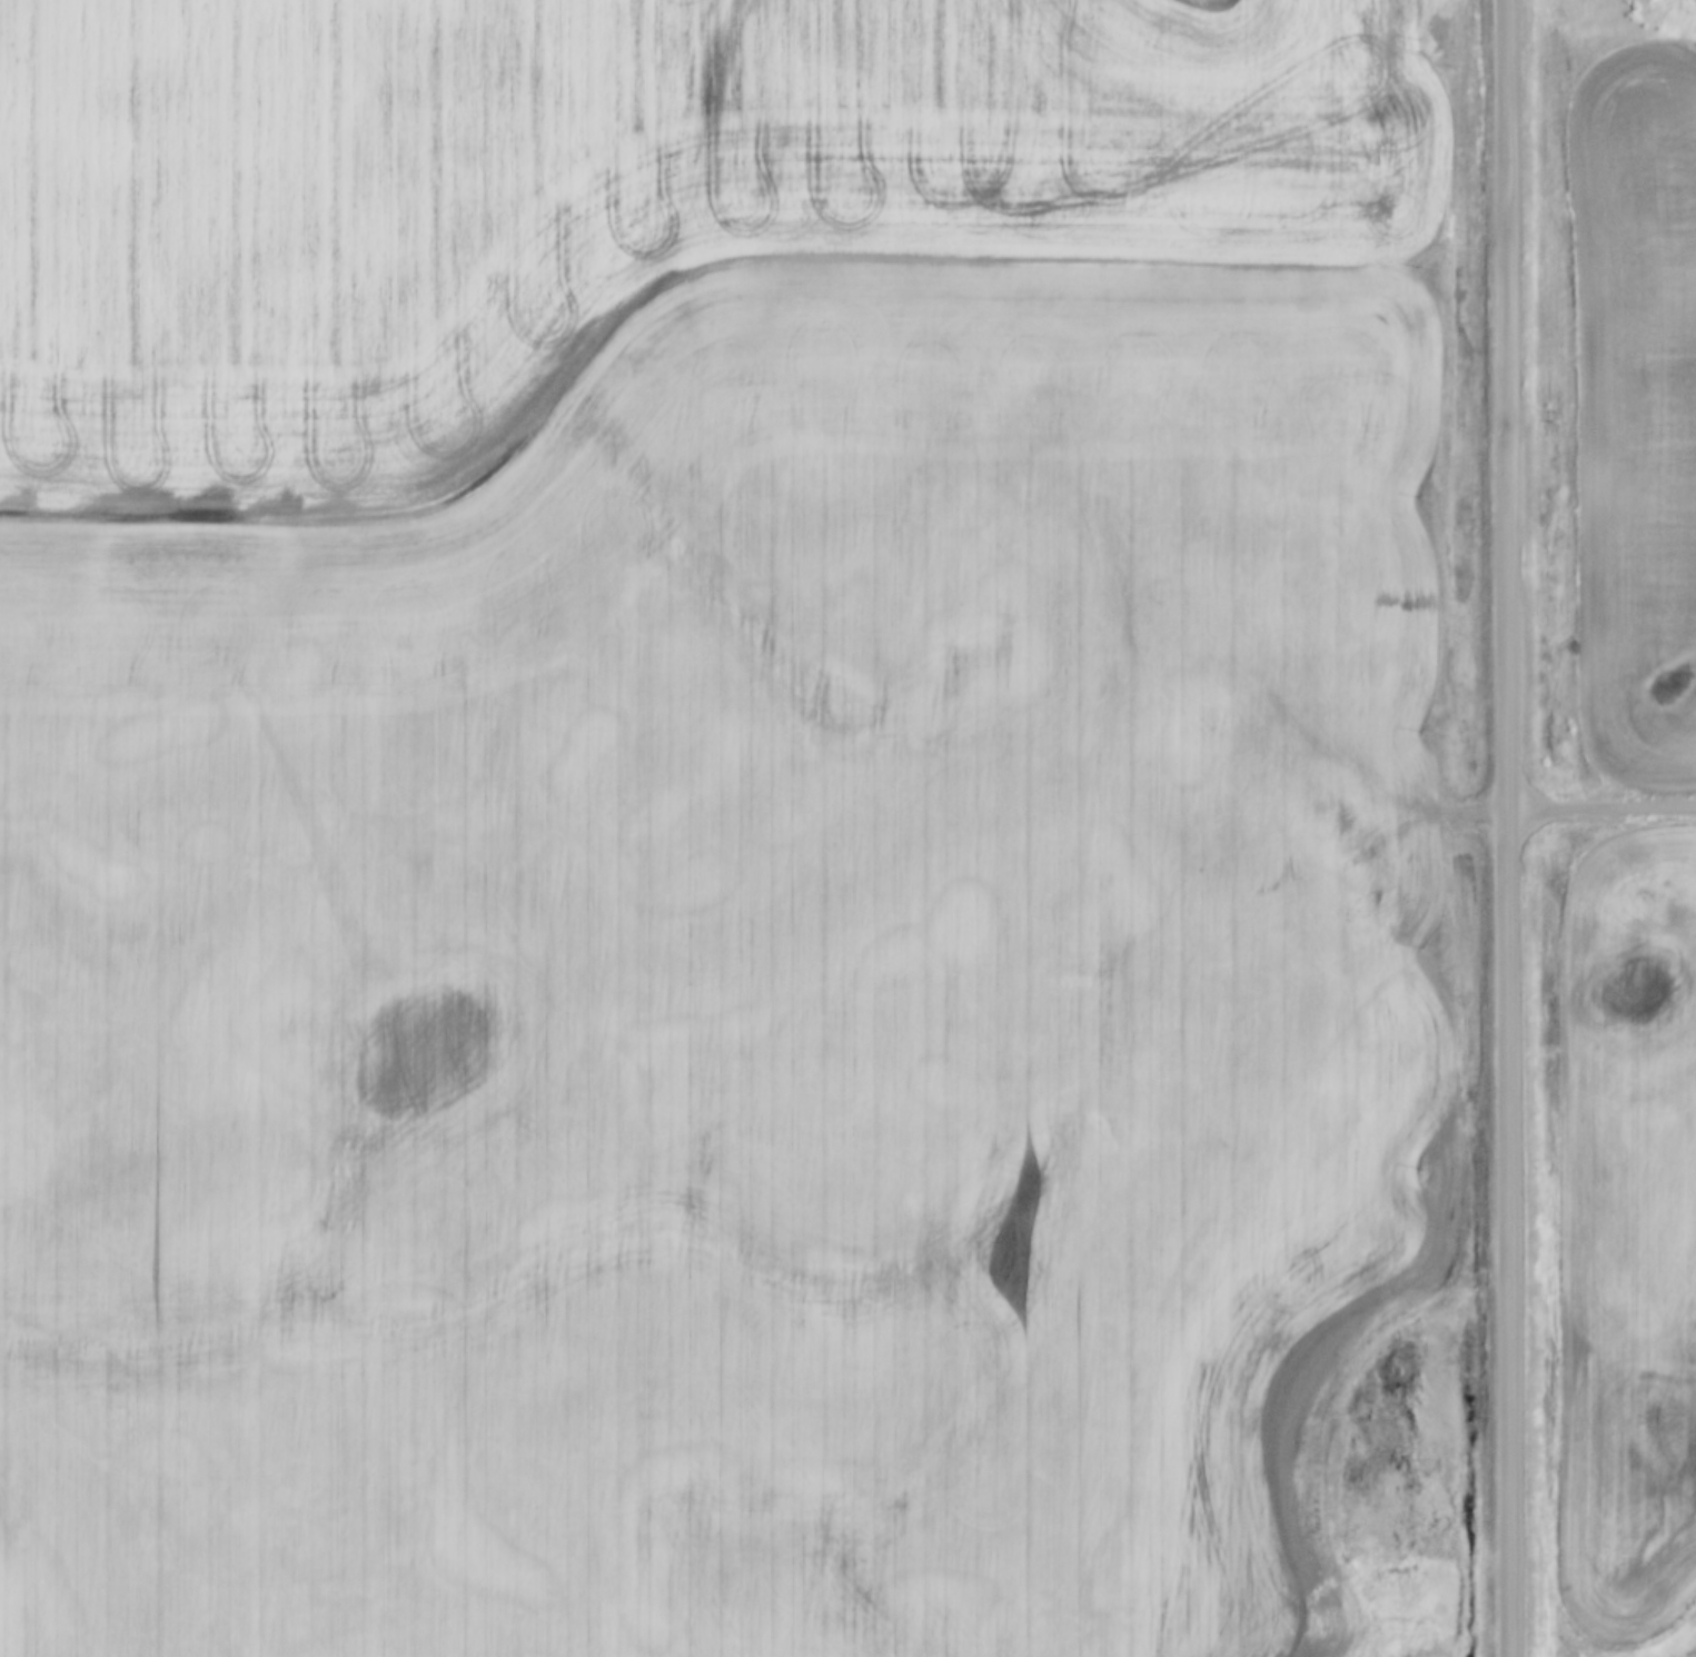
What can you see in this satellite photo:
road: (1603, 807)
road: (1509, 829)

